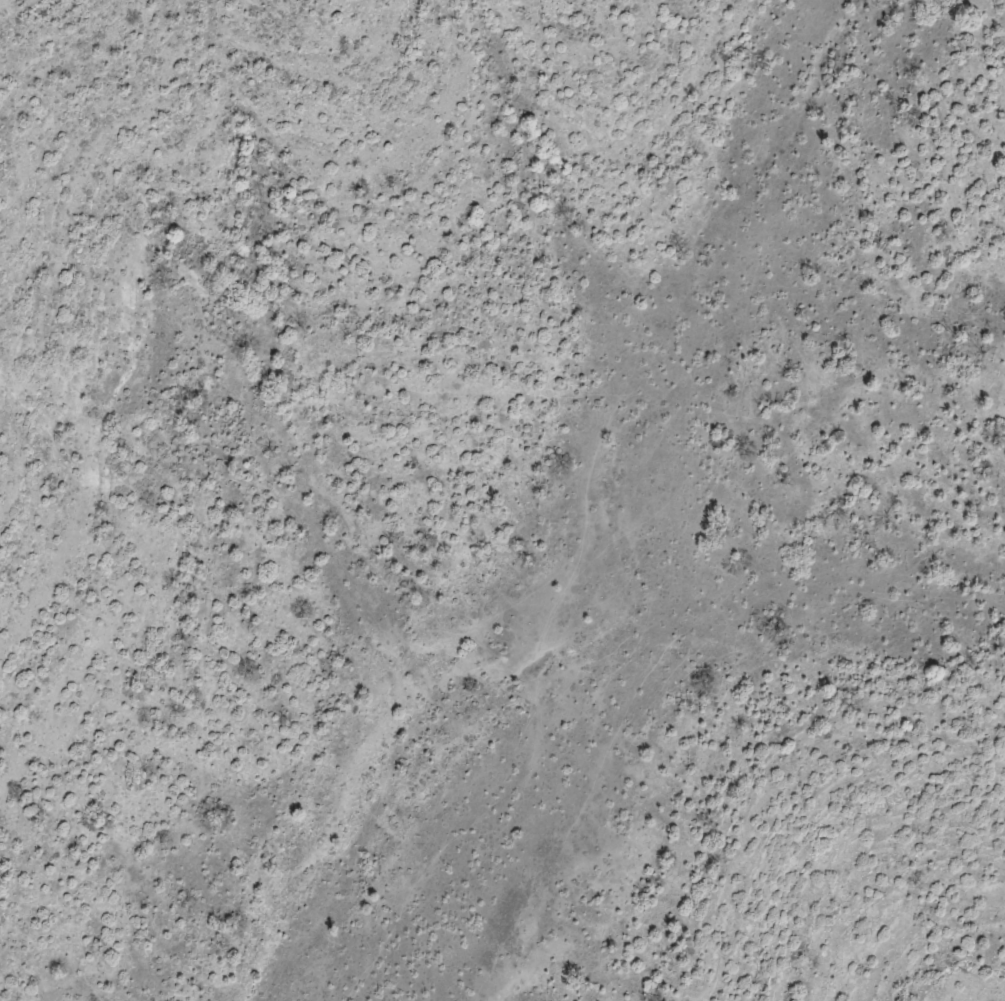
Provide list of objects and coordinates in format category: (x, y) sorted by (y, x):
road: (8, 29)

